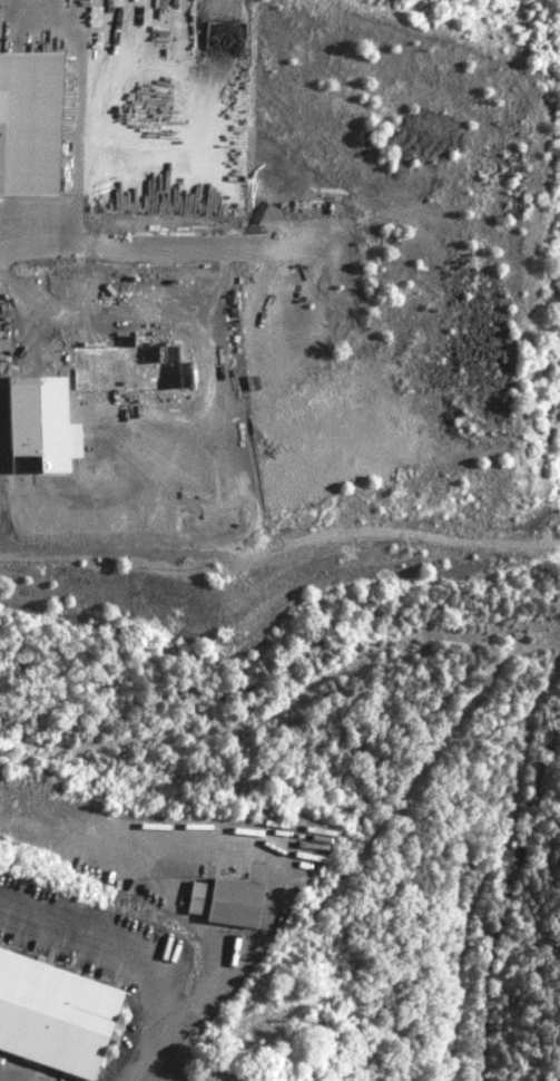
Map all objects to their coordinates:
building: (29, 124)
road: (31, 249)
building: (223, 903)
building: (53, 1015)
road: (158, 1046)

